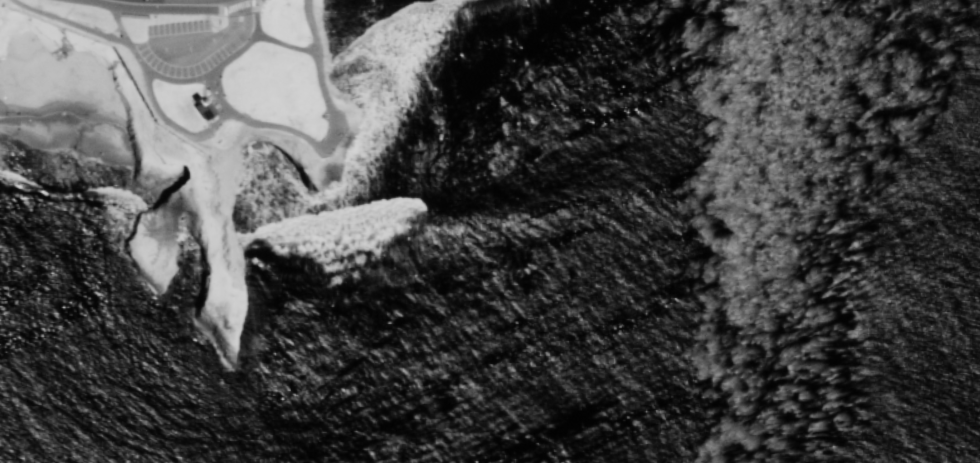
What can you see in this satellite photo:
road: (84, 0)
road: (166, 10)
road: (238, 15)
road: (69, 21)
parking lot: (190, 43)
road: (284, 43)
road: (157, 49)
road: (220, 63)
road: (216, 91)
lighthouse: (196, 100)
building: (201, 106)
park: (190, 110)
road: (247, 120)

